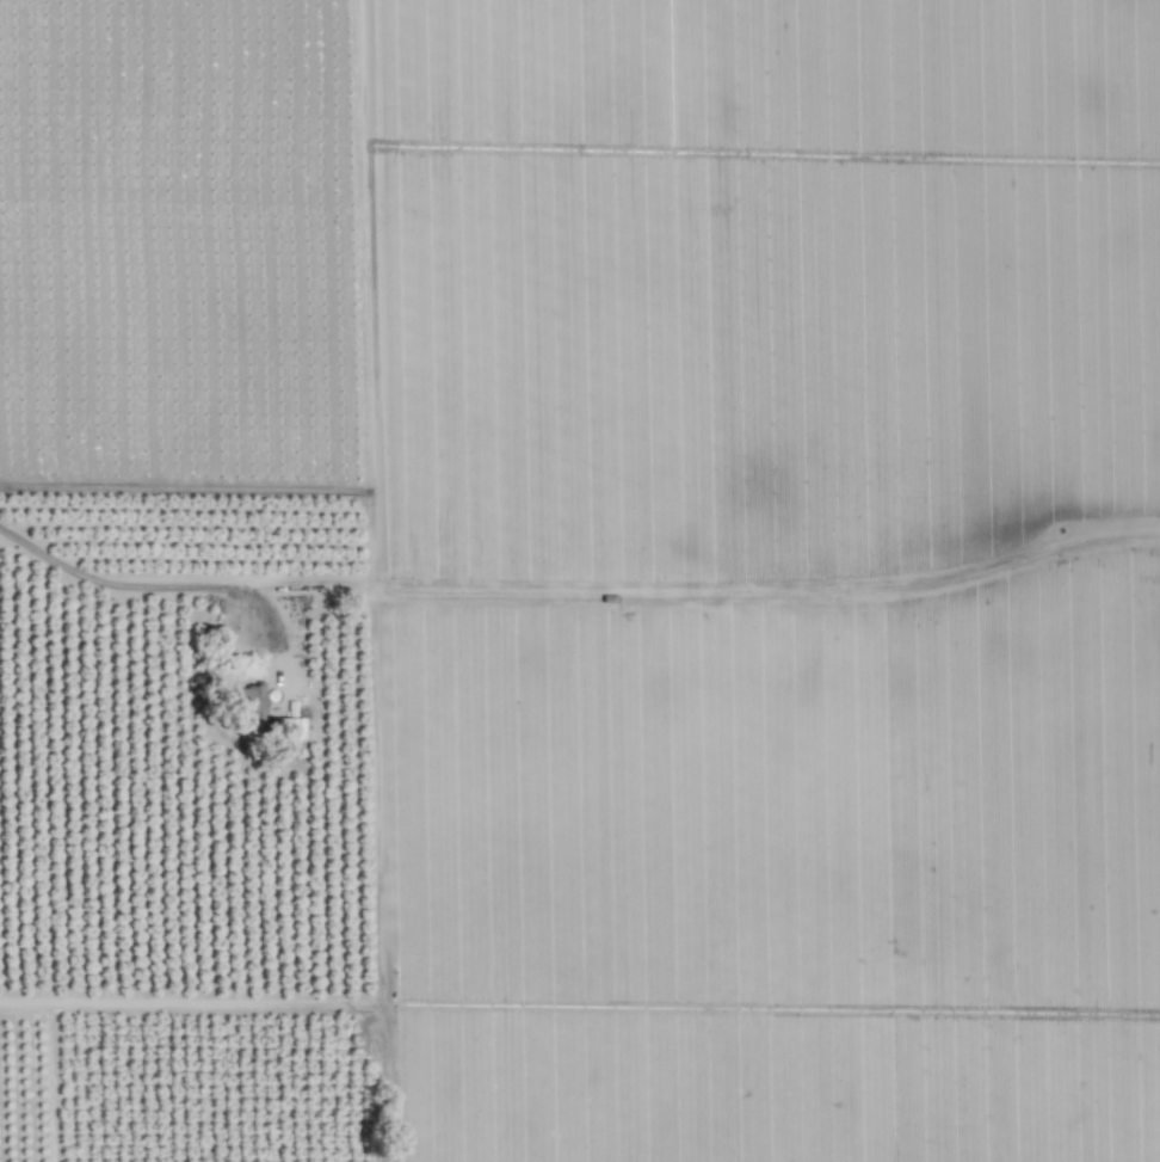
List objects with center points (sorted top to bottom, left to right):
road: (376, 580)
road: (159, 594)
building: (251, 701)
building: (289, 725)

